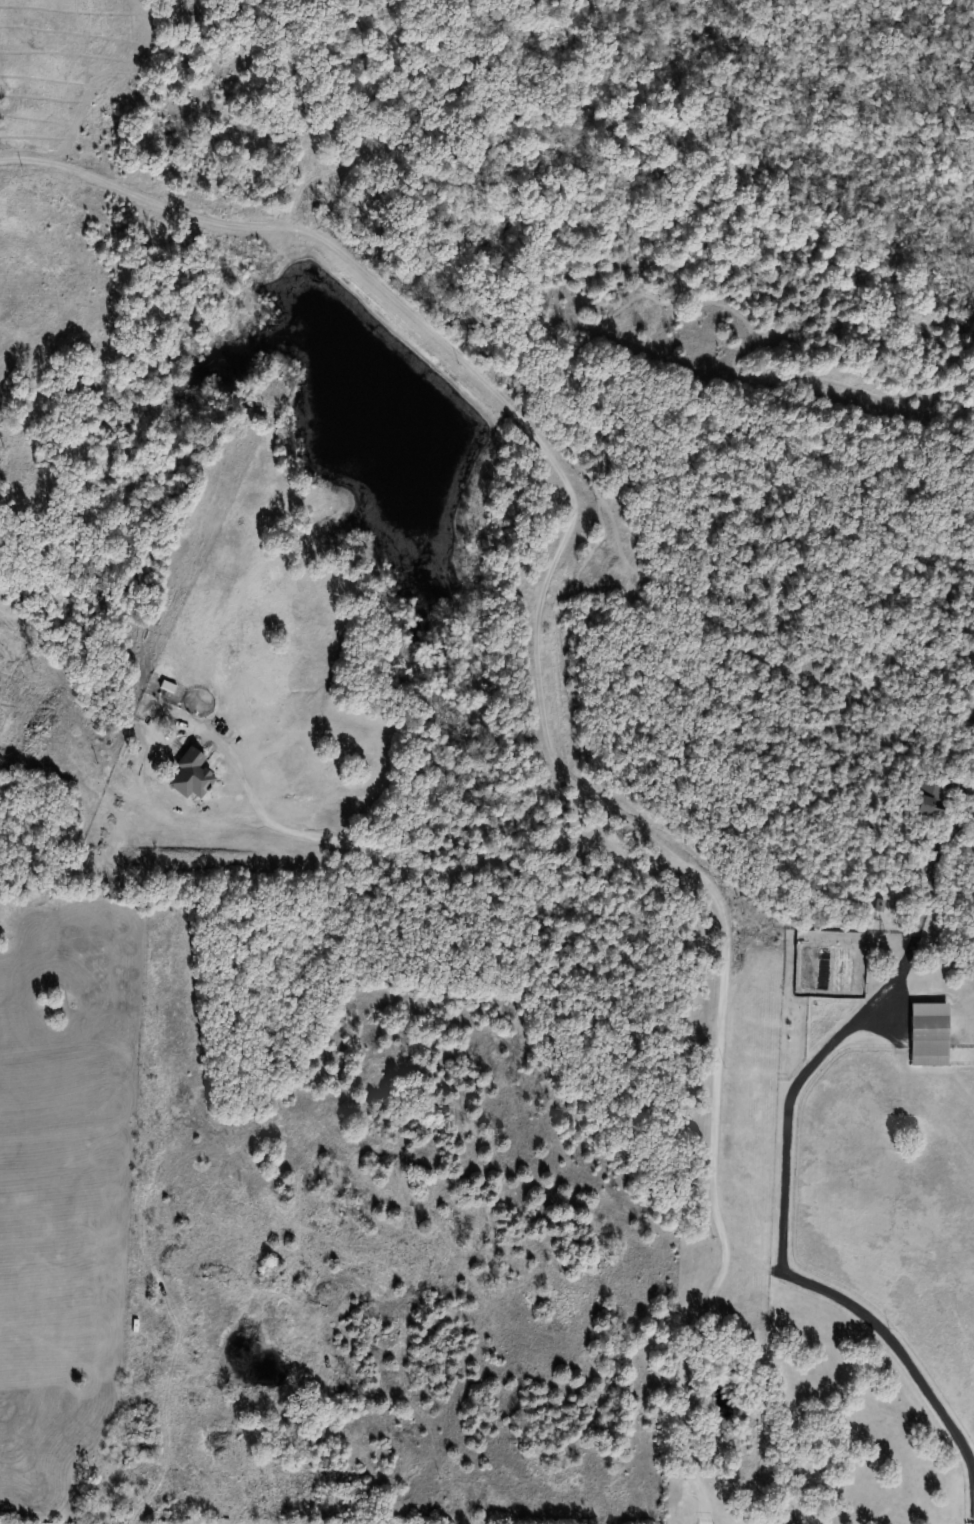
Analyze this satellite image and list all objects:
building: (189, 775)
building: (931, 800)
building: (927, 1034)
road: (790, 1151)

